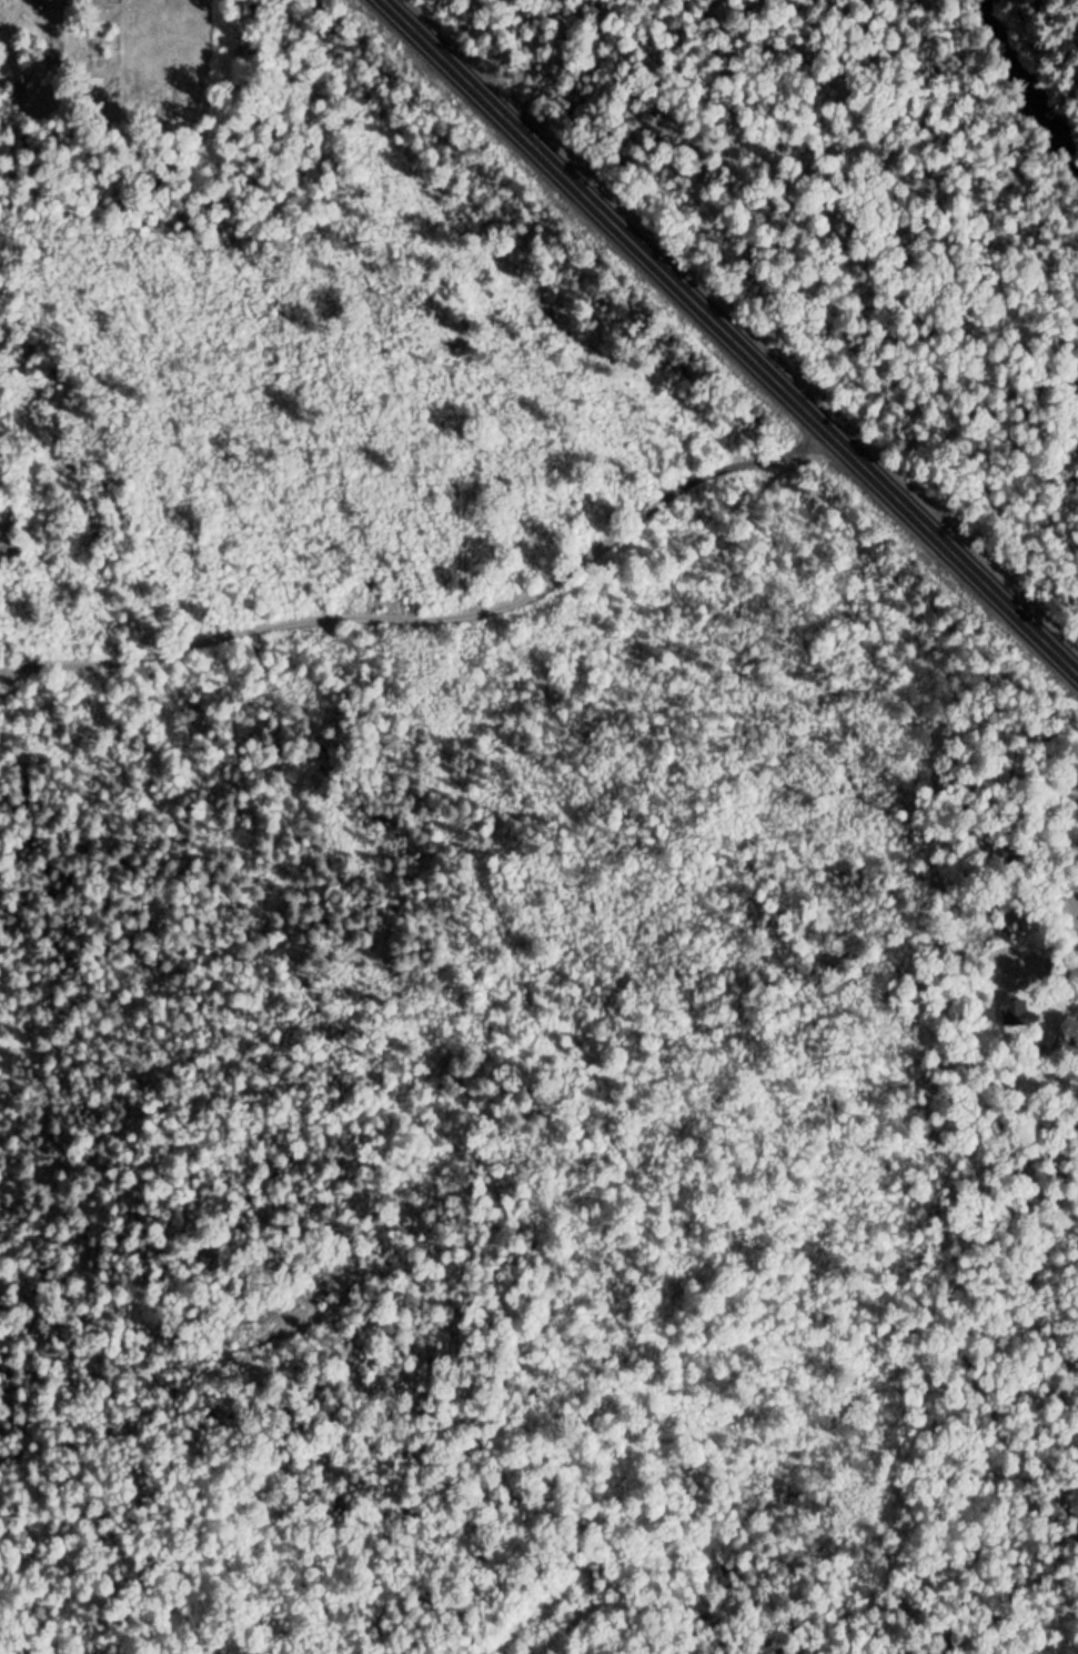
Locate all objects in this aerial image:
road: (54, 2)
park: (110, 92)
river: (1036, 93)
road: (728, 335)
road: (437, 625)
building: (1021, 1018)

